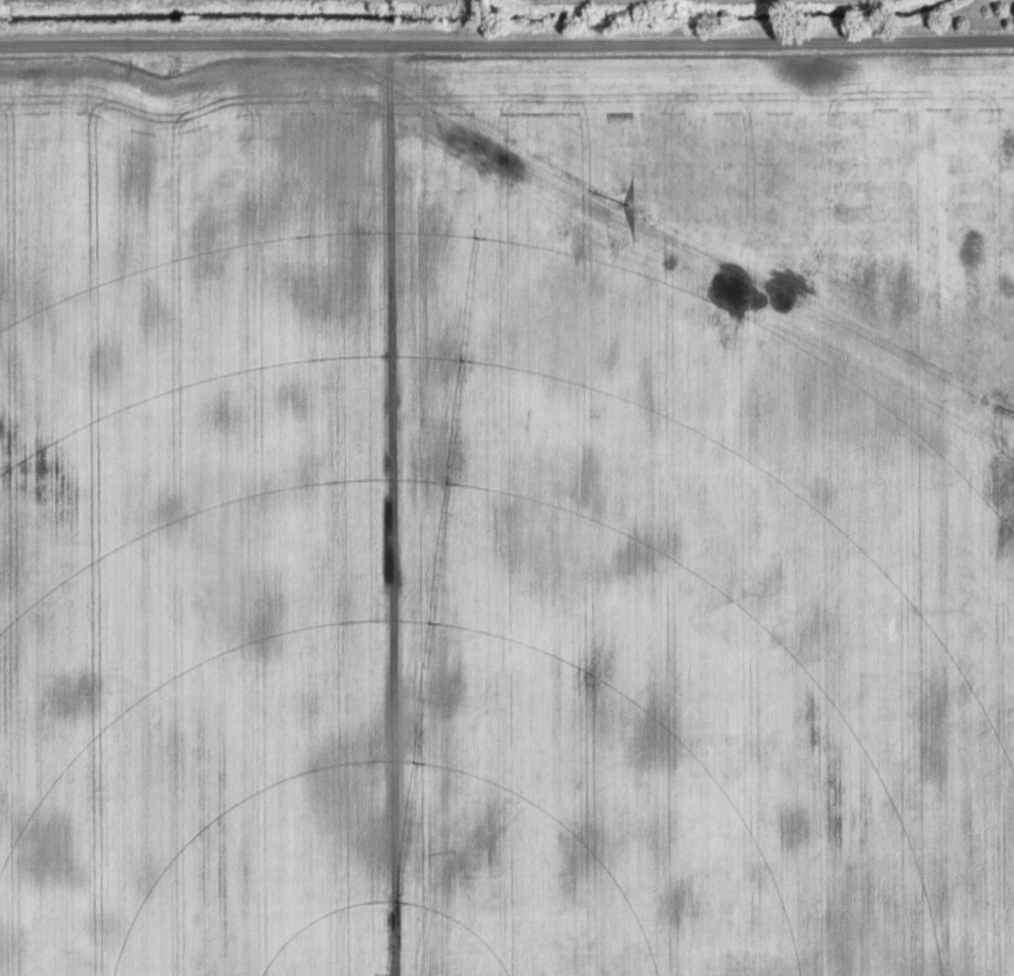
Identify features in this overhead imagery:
road: (507, 40)
power tower: (621, 201)
power tower: (575, 237)
power tower: (1006, 464)

